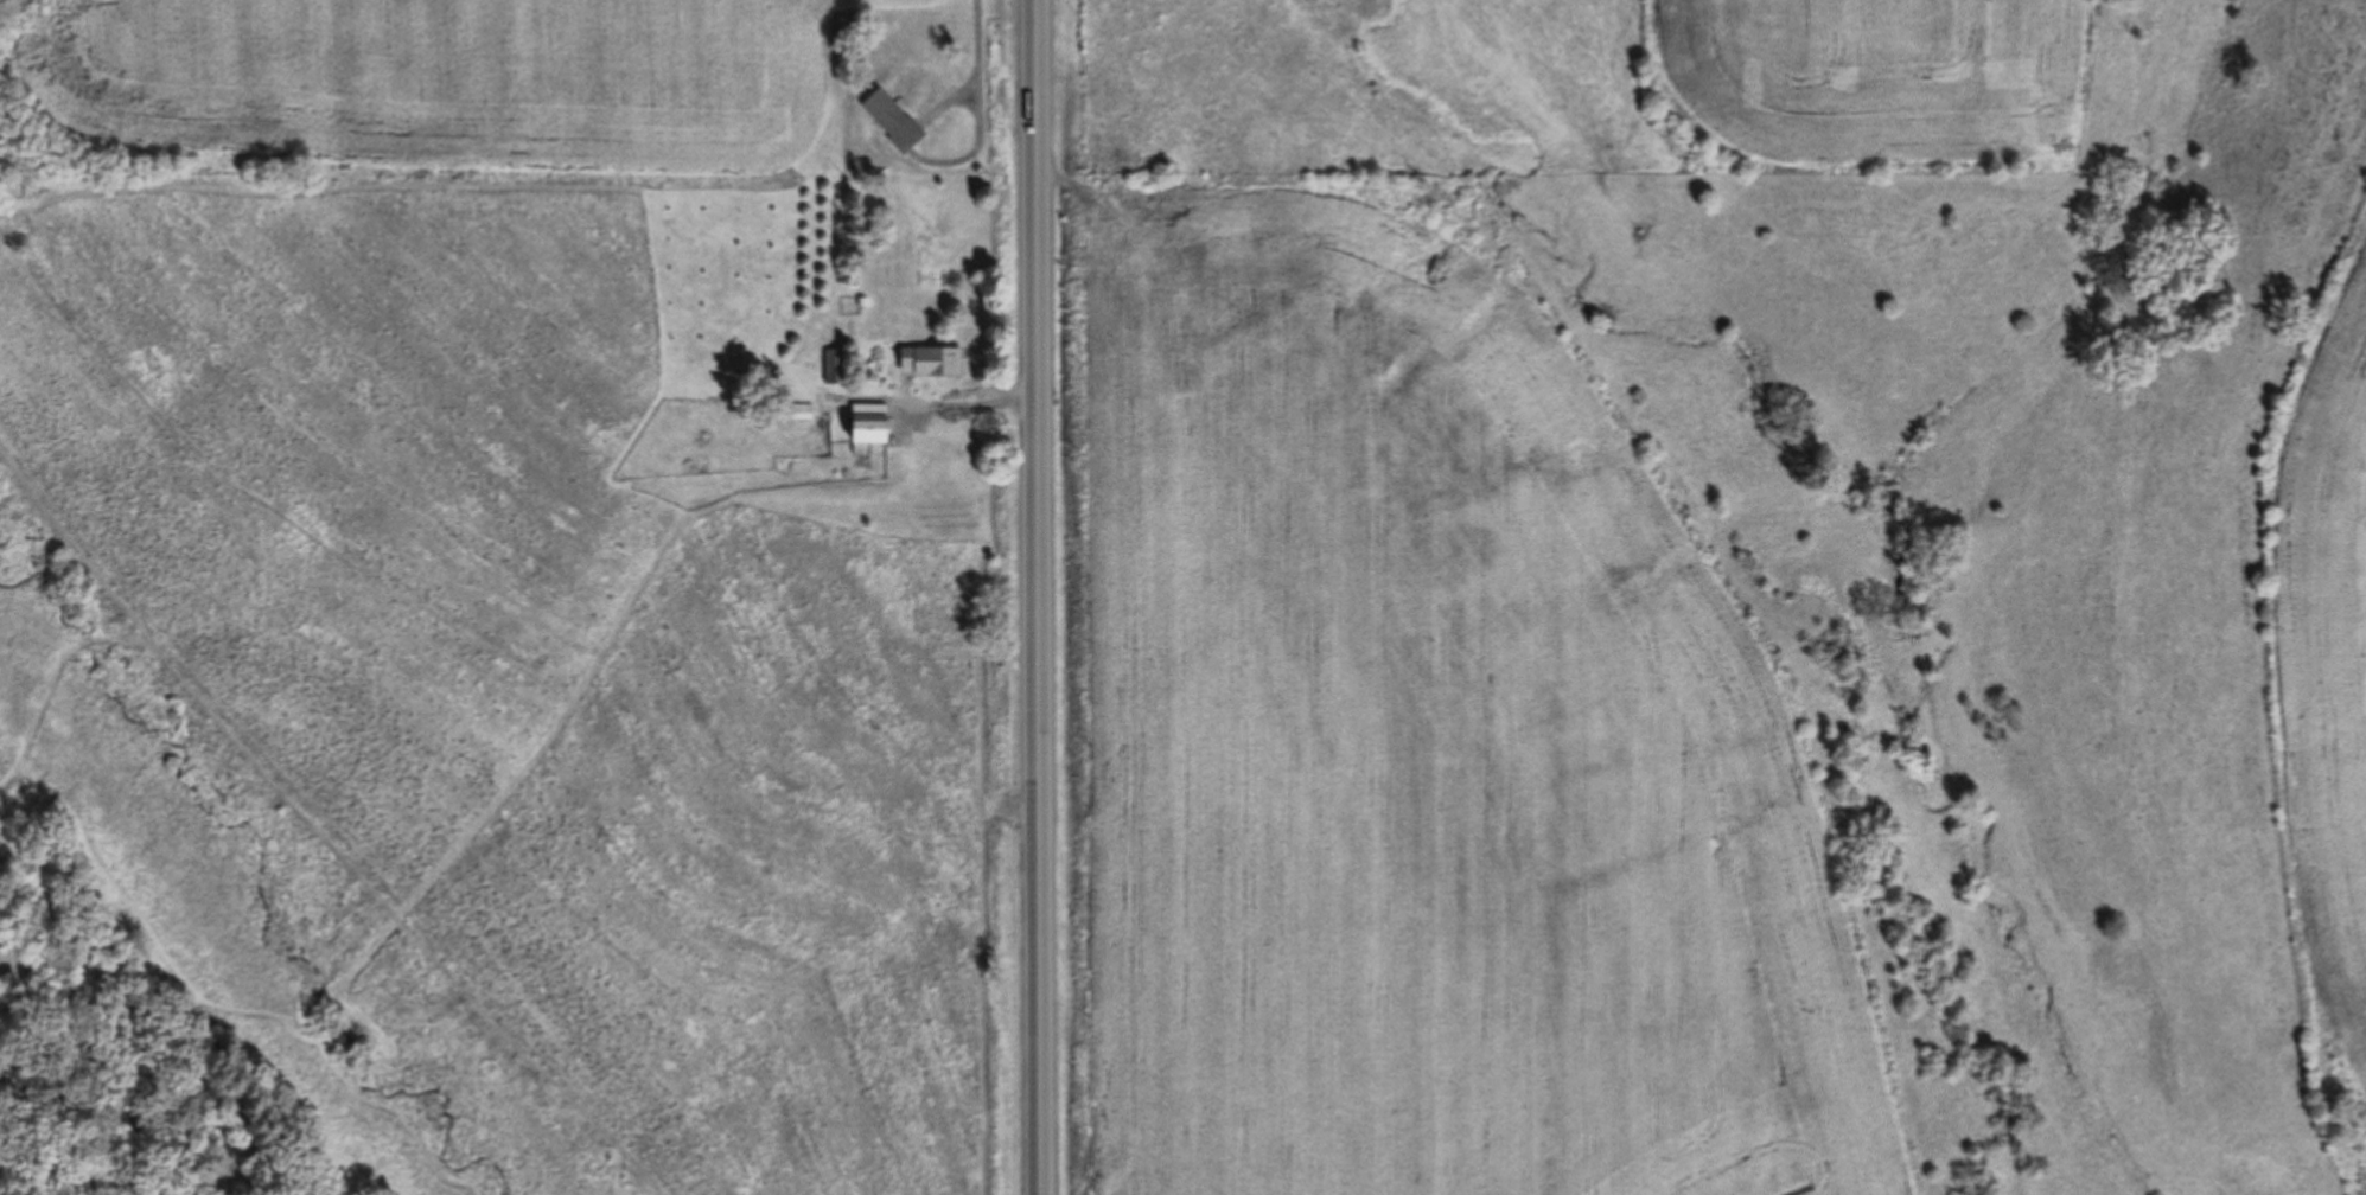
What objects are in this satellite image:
building: (887, 121)
building: (924, 360)
building: (828, 365)
building: (797, 410)
building: (861, 423)
road: (1037, 597)

